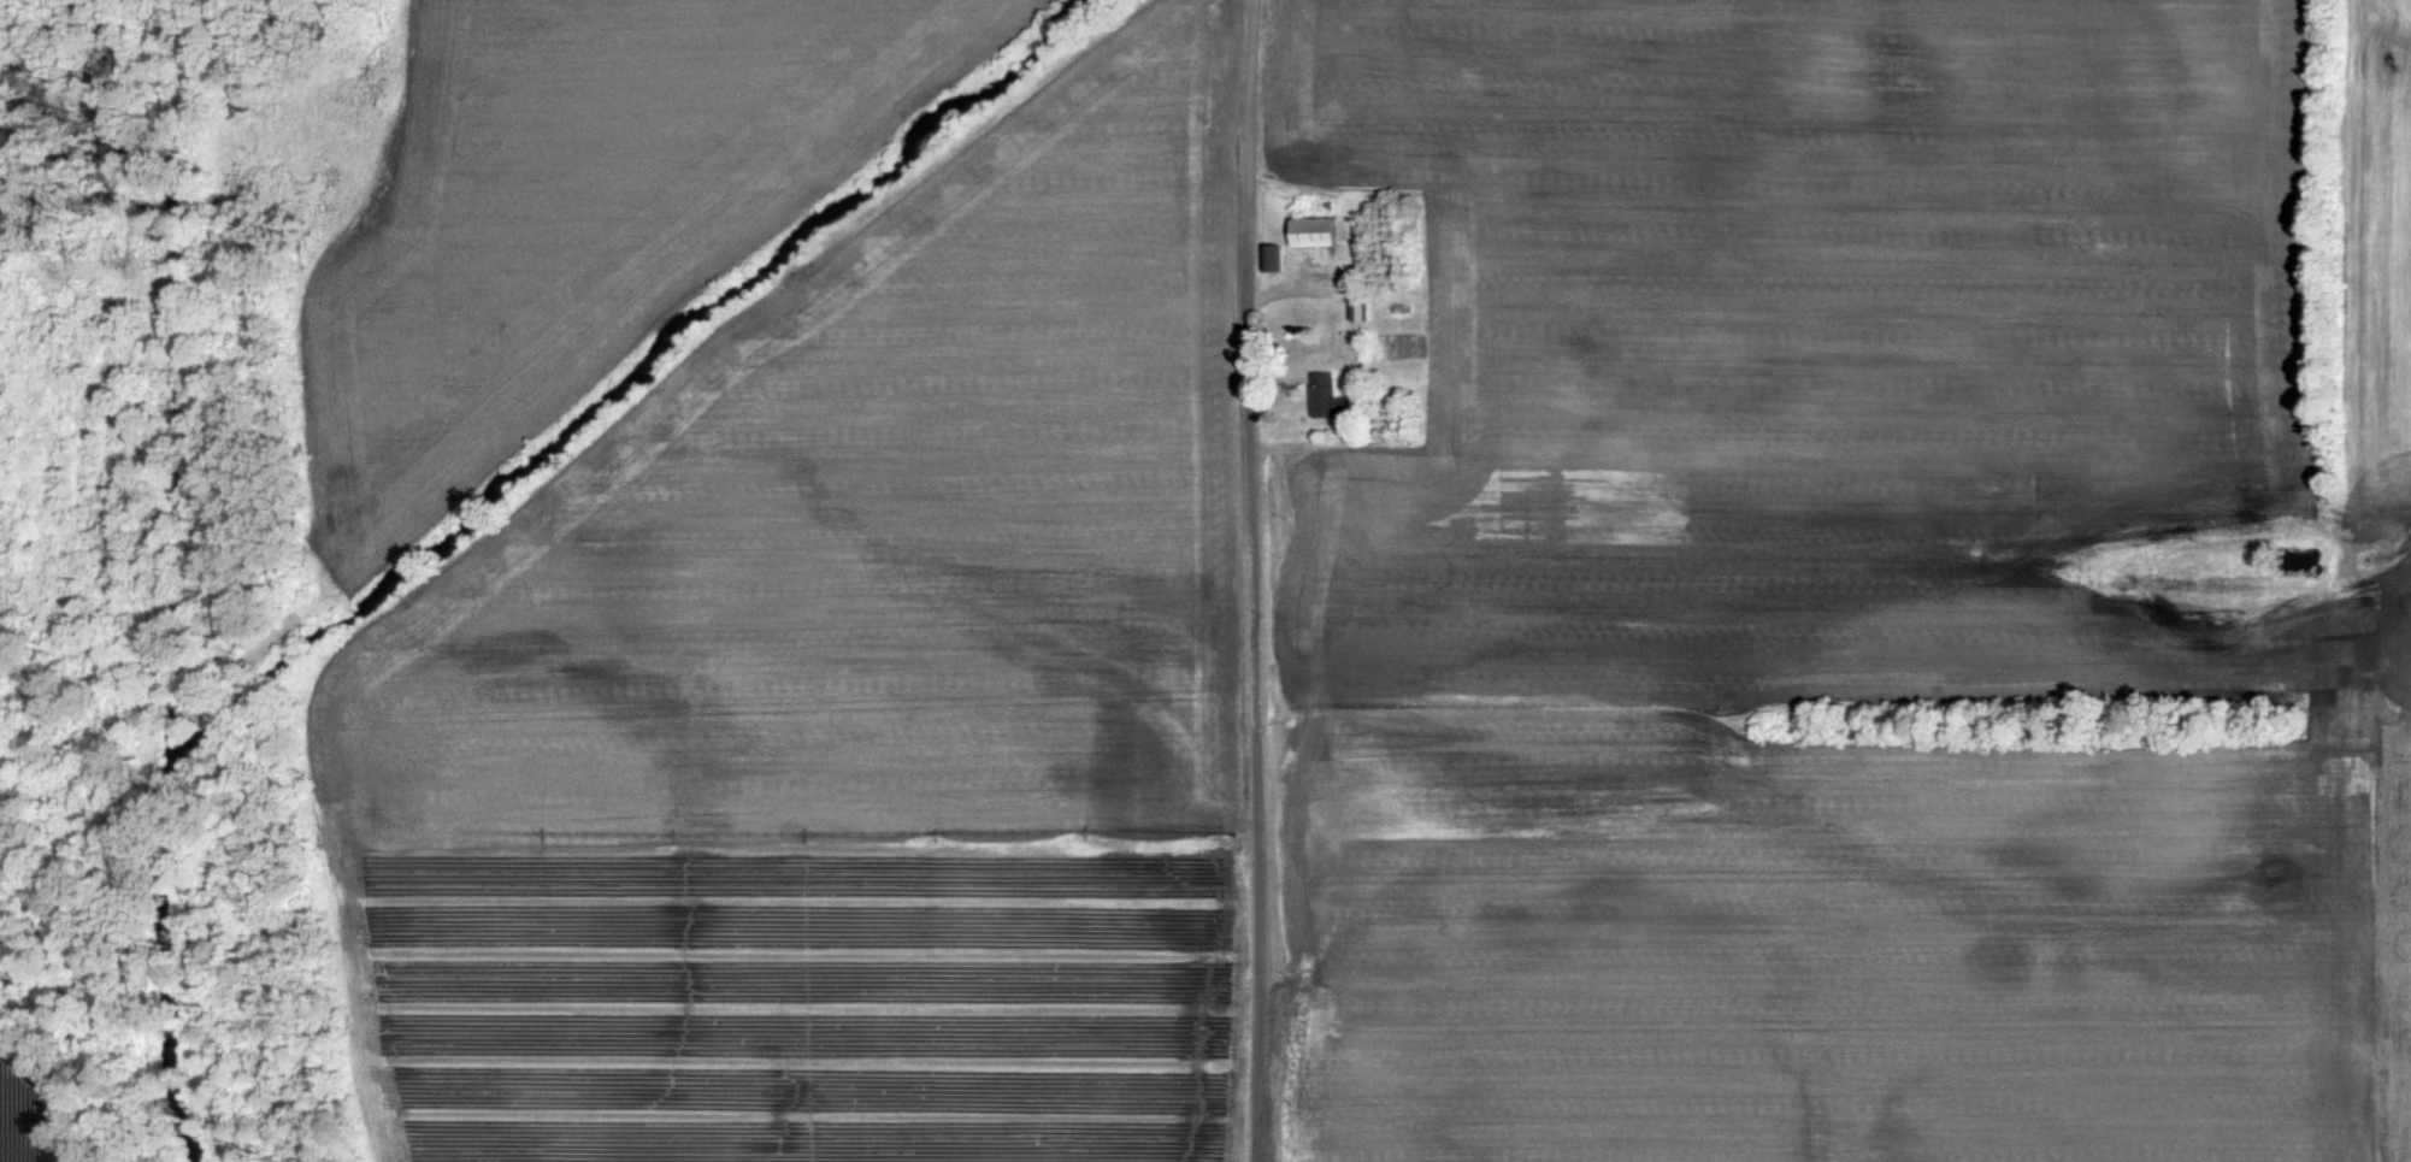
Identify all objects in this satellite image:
building: (1310, 231)
building: (1269, 256)
building: (1355, 311)
building: (1324, 395)
road: (1255, 580)

